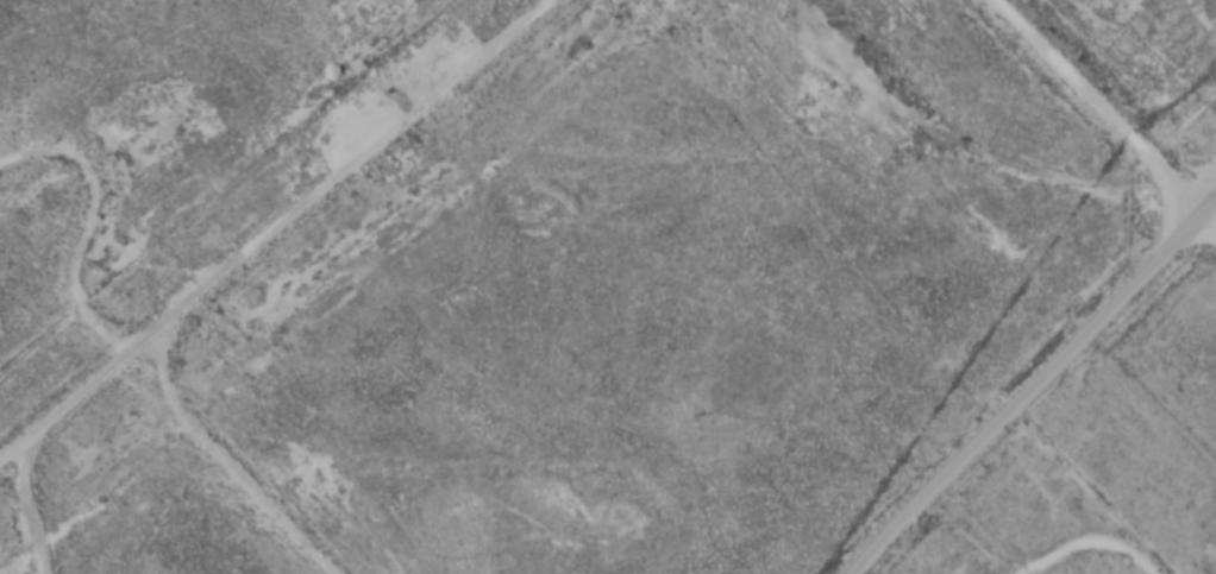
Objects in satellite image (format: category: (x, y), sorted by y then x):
road: (1126, 99)
road: (227, 251)
road: (1022, 373)
road: (252, 481)

